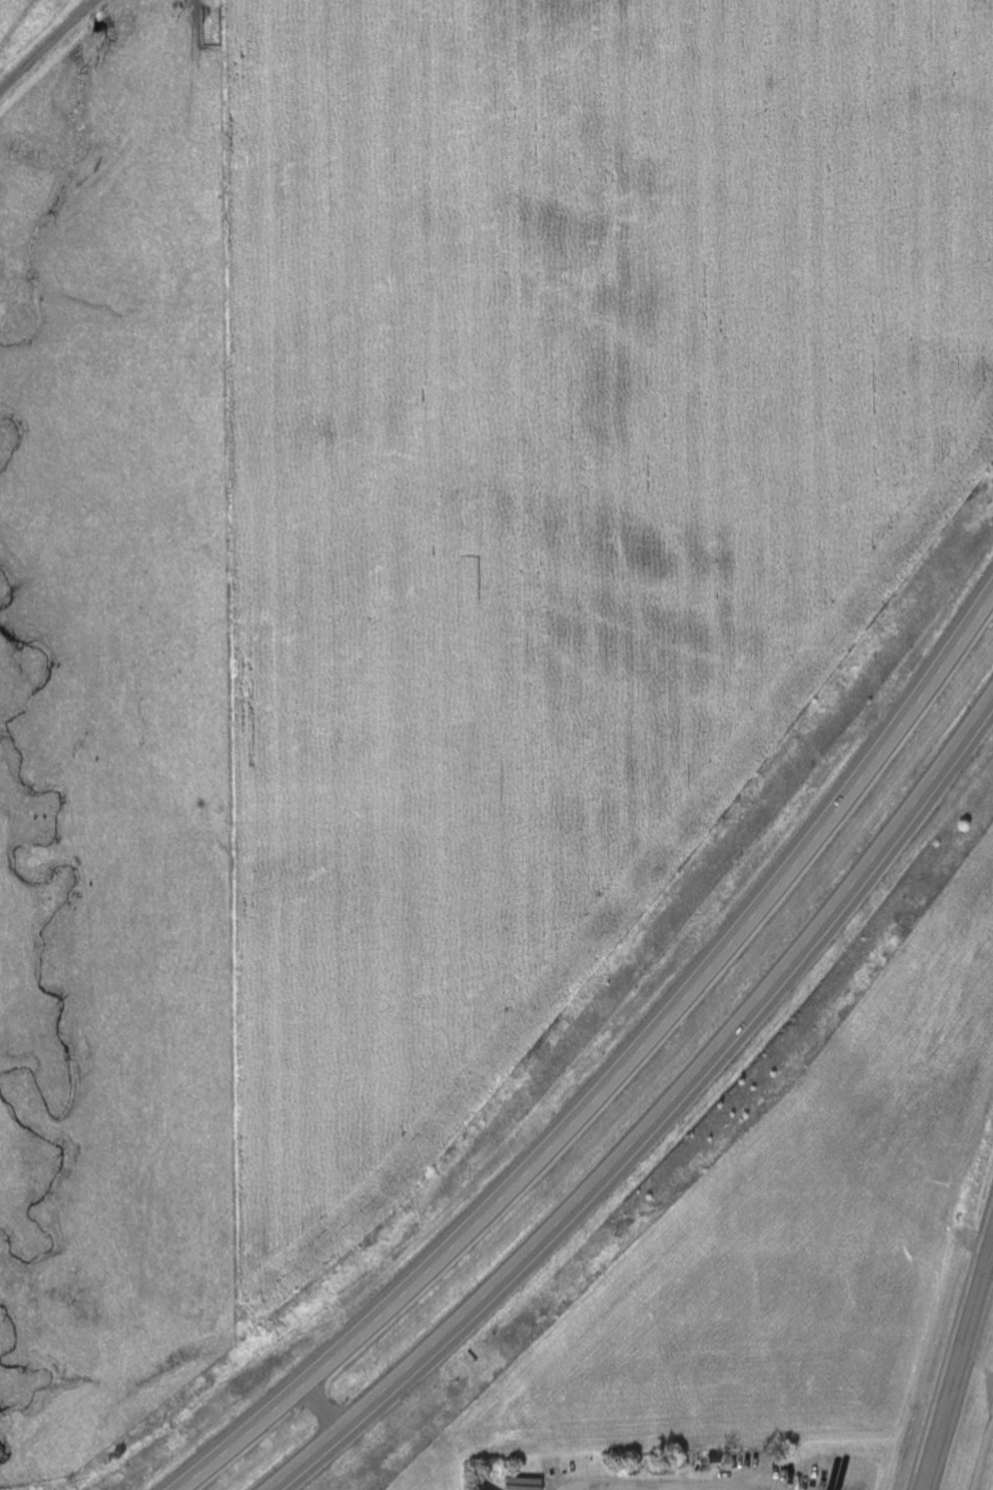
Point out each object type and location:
road: (45, 46)
road: (622, 1072)
road: (657, 1121)
road: (954, 1359)
road: (325, 1406)

